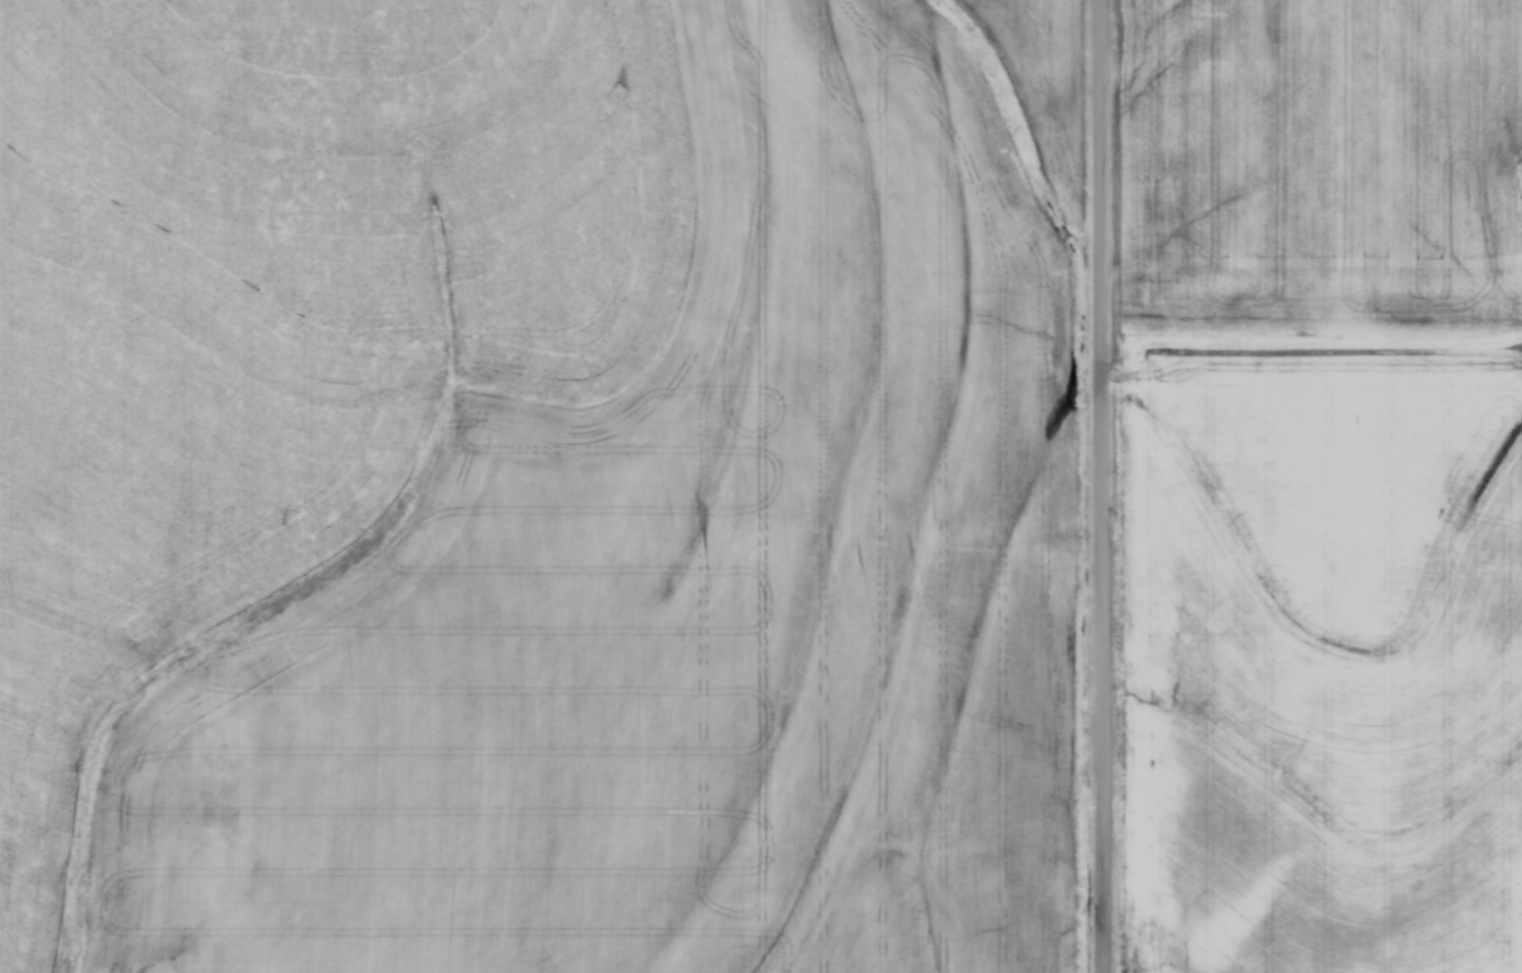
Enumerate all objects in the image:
road: (1105, 486)

